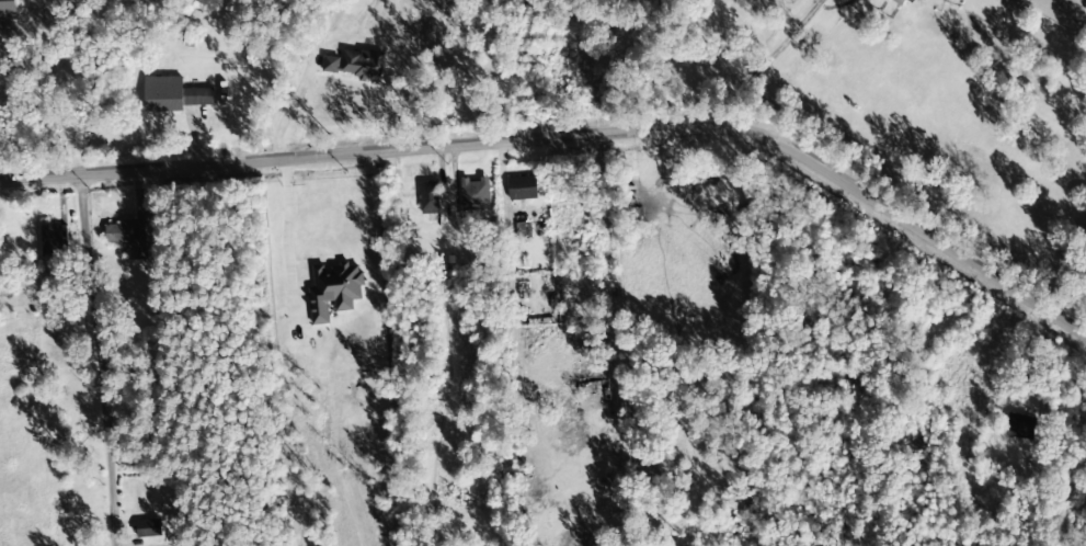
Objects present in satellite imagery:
building: (898, 2)
building: (8, 7)
building: (354, 64)
building: (174, 95)
road: (572, 135)
building: (521, 189)
building: (475, 194)
building: (428, 197)
building: (128, 237)
building: (53, 240)
building: (332, 289)
road: (99, 357)
building: (1019, 426)
building: (147, 528)

